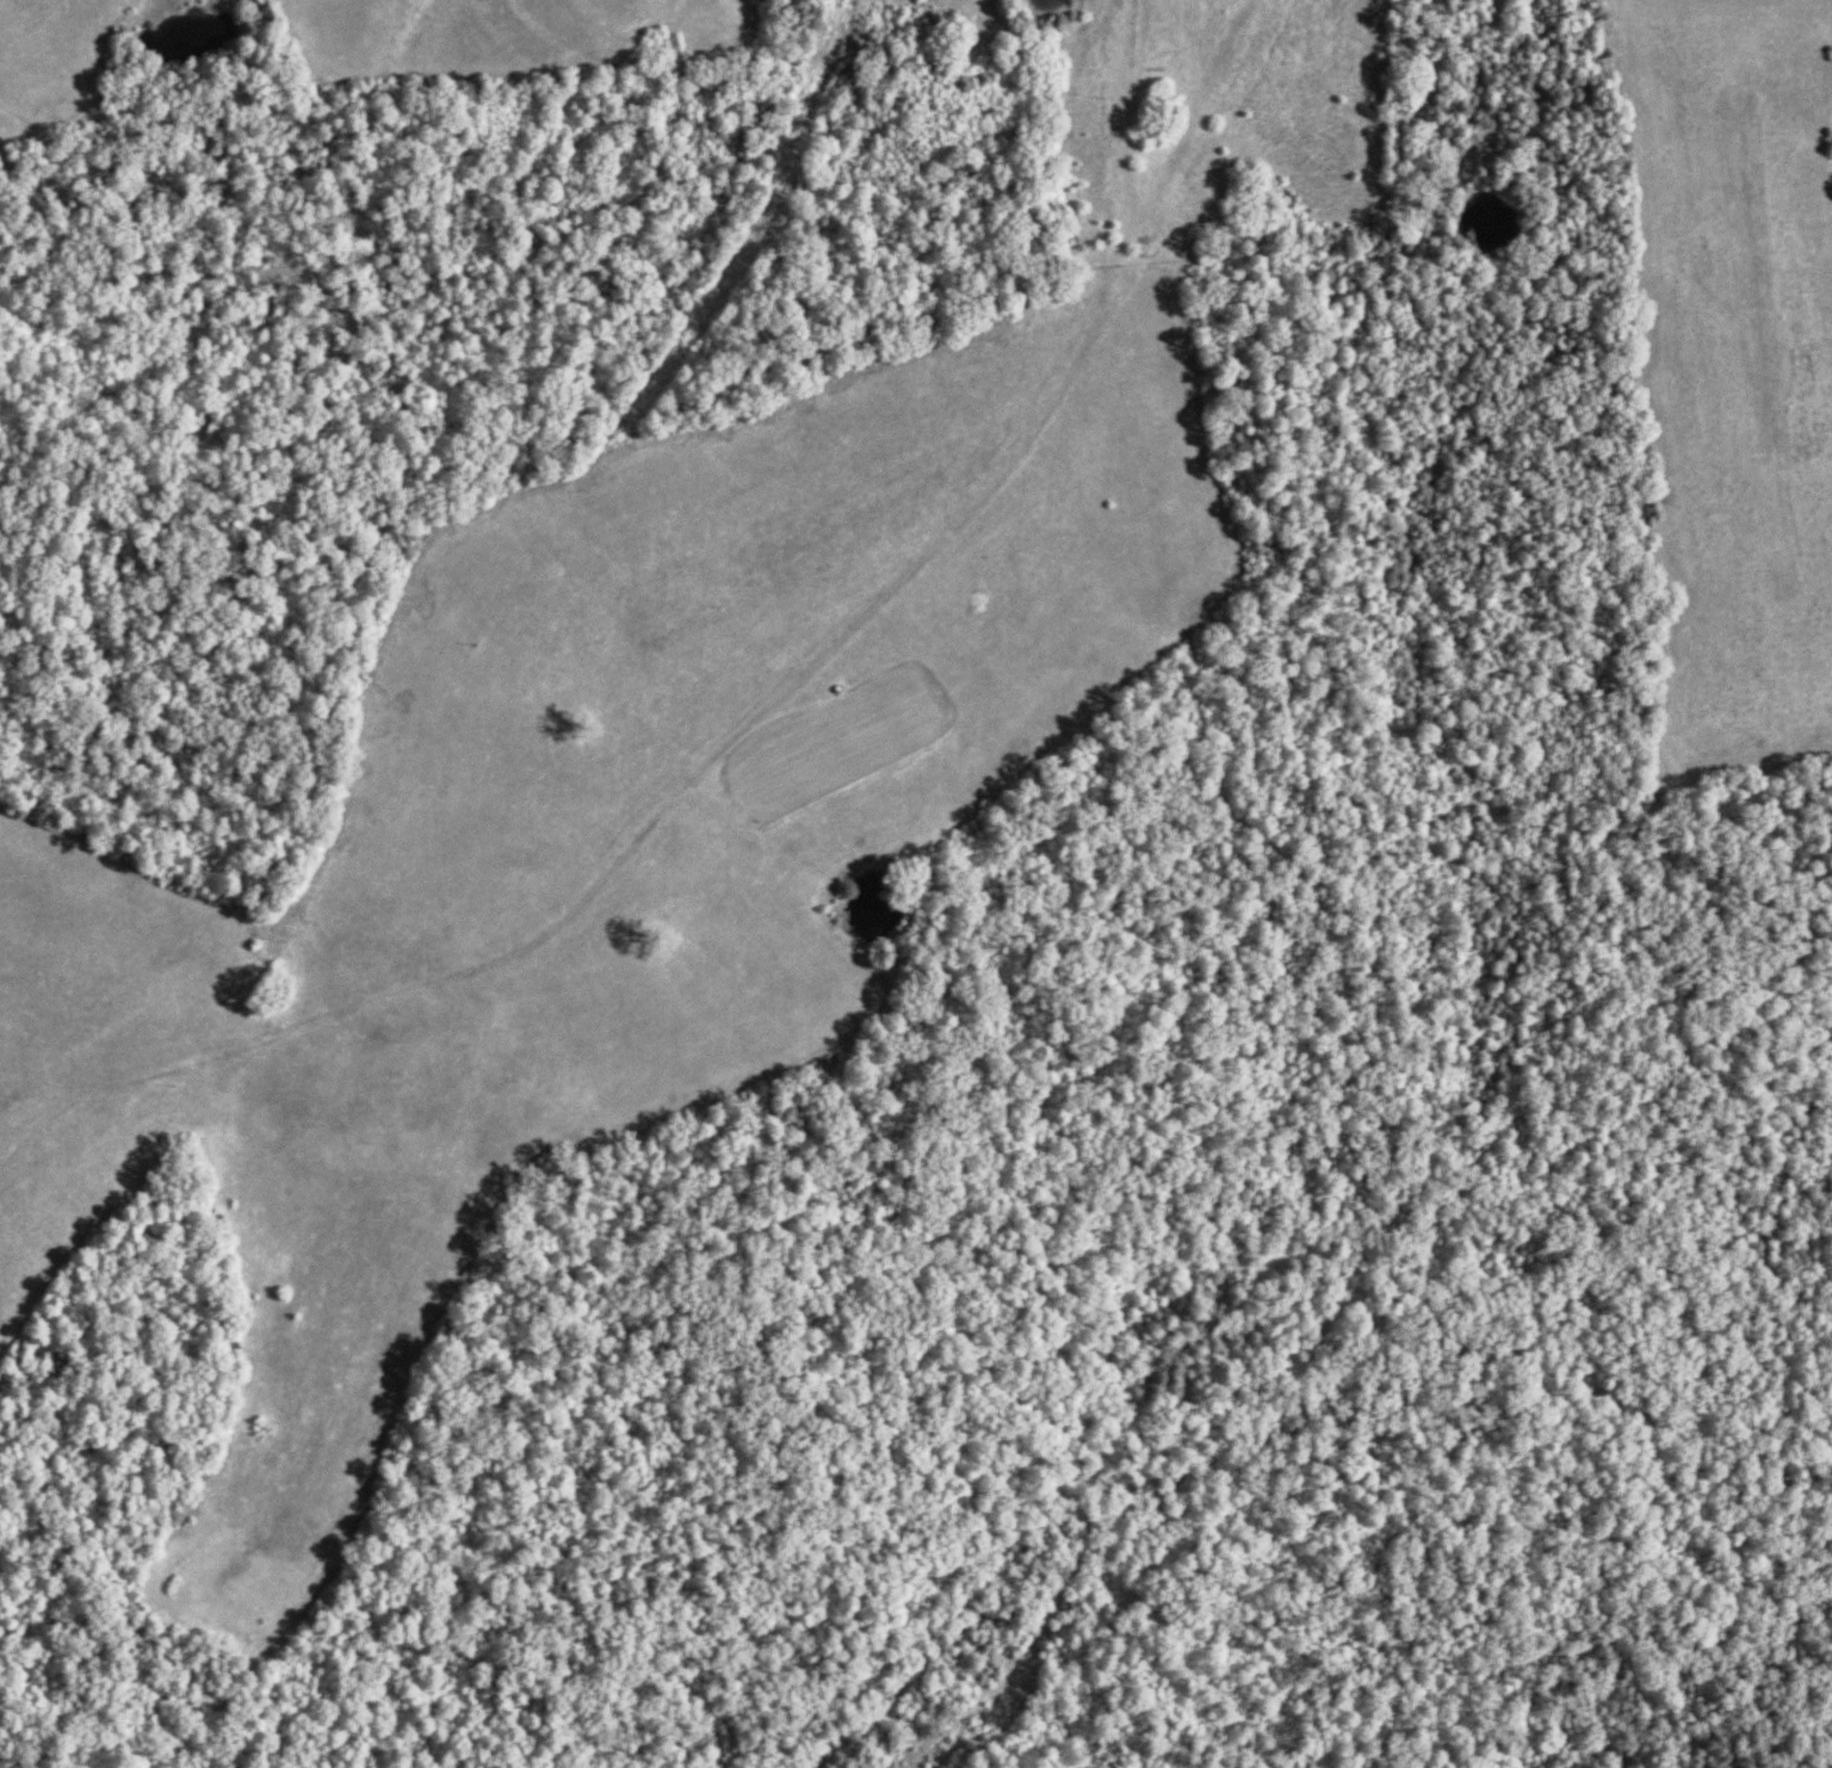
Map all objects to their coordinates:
road: (749, 723)

